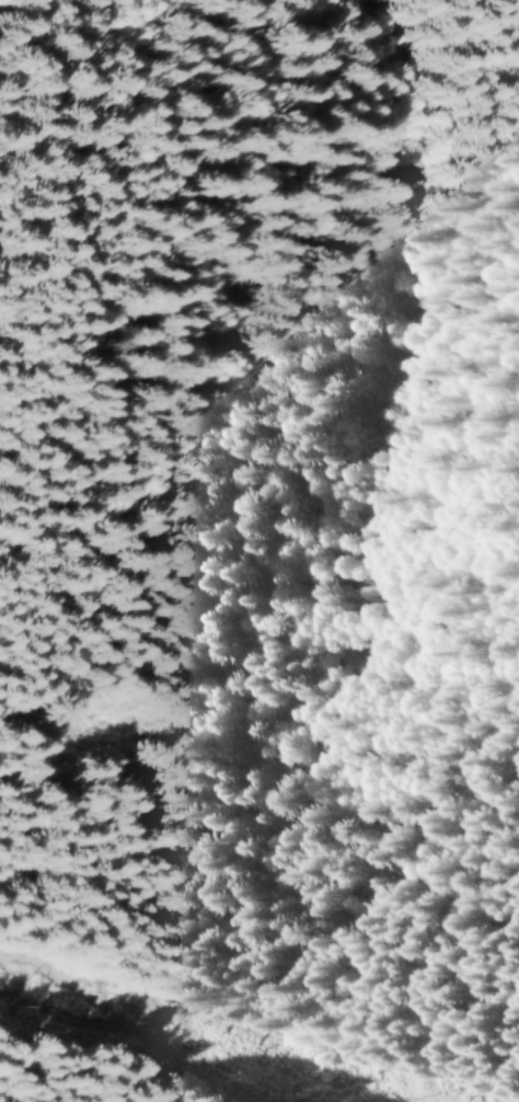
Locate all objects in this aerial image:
power tower: (13, 997)

